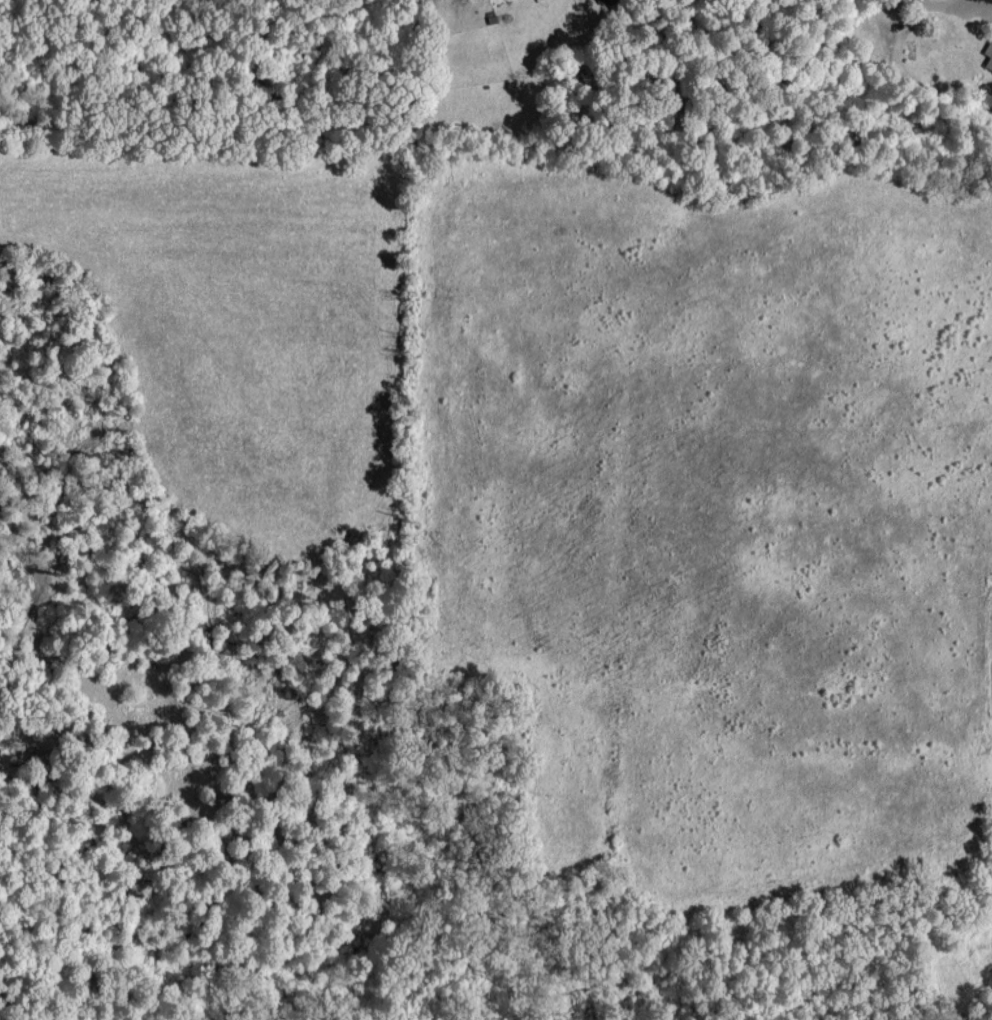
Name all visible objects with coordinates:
road: (980, 2)
building: (989, 62)

